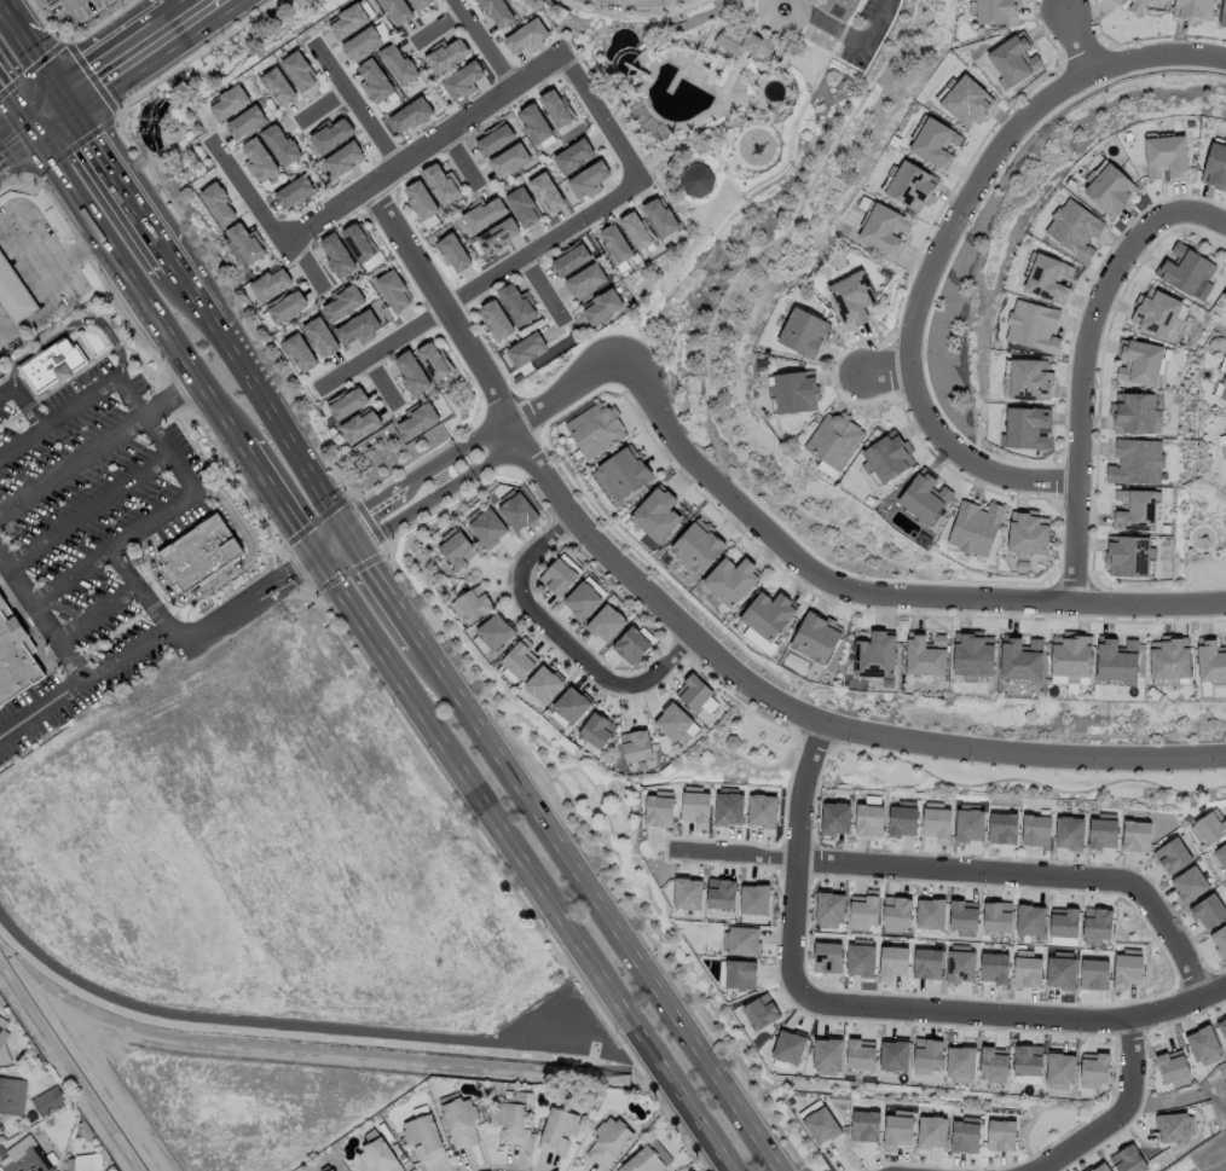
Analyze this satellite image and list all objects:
road: (640, 0)
building: (420, 4)
building: (1134, 4)
road: (187, 8)
road: (207, 8)
building: (395, 10)
building: (1192, 10)
building: (994, 11)
building: (496, 12)
building: (1222, 13)
building: (351, 18)
road: (780, 21)
road: (178, 29)
road: (441, 30)
building: (526, 36)
road: (851, 36)
road: (1082, 36)
building: (365, 41)
building: (741, 42)
road: (484, 44)
road: (41, 48)
building: (445, 54)
road: (1186, 54)
building: (1013, 59)
building: (399, 64)
road: (120, 70)
building: (299, 70)
building: (374, 80)
building: (459, 81)
building: (278, 87)
traffic signals: (76, 99)
building: (966, 100)
building: (230, 102)
road: (324, 105)
road: (357, 105)
building: (555, 108)
road: (13, 115)
road: (52, 115)
building: (410, 115)
road: (601, 116)
building: (247, 121)
building: (534, 126)
road: (13, 131)
traffic signals: (28, 132)
building: (330, 134)
building: (495, 138)
building: (933, 141)
building: (281, 145)
road: (17, 149)
road: (424, 150)
building: (572, 156)
building: (1166, 156)
building: (259, 158)
building: (343, 158)
building: (509, 160)
road: (467, 161)
building: (1215, 164)
road: (131, 178)
building: (588, 179)
building: (695, 179)
building: (439, 182)
building: (912, 185)
building: (1110, 189)
building: (294, 191)
building: (544, 191)
road: (248, 192)
building: (218, 203)
building: (421, 203)
building: (522, 207)
road: (1199, 209)
building: (482, 213)
building: (659, 216)
building: (885, 228)
building: (1074, 228)
building: (636, 230)
building: (495, 237)
building: (245, 242)
building: (358, 242)
building: (613, 244)
road: (45, 249)
building: (451, 253)
building: (336, 255)
building: (569, 257)
road: (308, 262)
building: (1184, 268)
road: (933, 276)
building: (1047, 276)
building: (584, 280)
building: (270, 283)
road: (133, 286)
road: (481, 286)
building: (393, 290)
road: (545, 290)
building: (15, 291)
gas station: (15, 291)
road: (203, 294)
building: (1224, 294)
building: (1224, 297)
building: (854, 298)
building: (341, 302)
building: (516, 303)
building: (287, 306)
building: (600, 306)
road: (39, 312)
building: (1156, 312)
building: (493, 319)
road: (70, 324)
building: (1033, 326)
building: (358, 327)
building: (805, 334)
building: (320, 338)
road: (4, 340)
building: (527, 349)
building: (300, 354)
building: (435, 363)
building: (1143, 363)
building: (52, 366)
road: (886, 371)
building: (412, 375)
building: (1029, 378)
building: (1221, 381)
road: (383, 383)
building: (796, 392)
road: (1087, 393)
road: (23, 400)
building: (347, 404)
road: (76, 405)
building: (1137, 412)
building: (417, 422)
road: (284, 425)
building: (360, 427)
building: (1025, 427)
building: (596, 430)
building: (837, 441)
building: (1222, 444)
road: (96, 445)
road: (168, 452)
building: (890, 457)
building: (1137, 462)
road: (443, 463)
building: (625, 473)
road: (441, 480)
road: (458, 485)
building: (926, 497)
road: (274, 502)
building: (517, 506)
building: (1137, 509)
road: (83, 510)
building: (657, 516)
road: (152, 520)
traffic signals: (346, 523)
building: (487, 526)
building: (976, 527)
building: (1029, 533)
road: (353, 534)
road: (330, 540)
traffic signals: (360, 546)
building: (699, 547)
building: (457, 549)
road: (337, 552)
building: (198, 555)
building: (1129, 555)
traffic signals: (314, 558)
road: (69, 575)
road: (219, 576)
building: (559, 576)
road: (831, 579)
building: (733, 581)
road: (139, 587)
road: (391, 591)
building: (583, 601)
building: (473, 604)
road: (96, 611)
building: (770, 616)
building: (607, 624)
building: (496, 631)
road: (561, 638)
building: (817, 638)
road: (694, 639)
road: (140, 644)
building: (632, 645)
building: (975, 653)
building: (926, 654)
building: (1071, 655)
building: (877, 656)
building: (520, 657)
building: (1022, 657)
building: (1170, 657)
building: (1118, 659)
building: (1211, 659)
building: (15, 667)
building: (544, 683)
building: (695, 685)
building: (572, 705)
road: (41, 706)
building: (672, 715)
building: (597, 729)
building: (637, 744)
road: (804, 789)
building: (693, 802)
building: (725, 804)
building: (762, 804)
building: (657, 805)
building: (868, 812)
building: (901, 813)
building: (832, 815)
building: (933, 816)
building: (968, 821)
building: (1001, 822)
building: (1209, 822)
building: (1035, 823)
building: (1069, 827)
building: (1101, 827)
building: (1135, 830)
building: (1170, 850)
road: (735, 853)
building: (1220, 854)
road: (517, 865)
road: (1033, 874)
building: (1189, 877)
building: (684, 888)
building: (718, 889)
building: (752, 898)
road: (597, 904)
building: (826, 904)
building: (895, 906)
building: (1210, 906)
building: (862, 908)
building: (929, 909)
building: (994, 911)
building: (958, 914)
building: (1027, 915)
building: (1060, 918)
building: (1095, 920)
building: (740, 937)
building: (1220, 937)
building: (828, 950)
building: (858, 955)
building: (925, 956)
building: (891, 958)
building: (960, 958)
building: (990, 961)
building: (1126, 962)
building: (1024, 966)
building: (1058, 966)
building: (739, 969)
building: (1091, 969)
building: (759, 1005)
road: (947, 1009)
building: (1221, 1027)
building: (2, 1030)
building: (785, 1043)
building: (1203, 1045)
building: (825, 1050)
building: (926, 1050)
building: (857, 1051)
building: (892, 1051)
building: (1025, 1055)
building: (956, 1057)
building: (990, 1059)
building: (1058, 1065)
building: (1094, 1066)
building: (1172, 1067)
building: (12, 1095)
building: (48, 1100)
road: (1118, 1114)
building: (30, 1115)
building: (510, 1119)
building: (820, 1120)
building: (459, 1121)
building: (862, 1123)
building: (896, 1124)
building: (1174, 1127)
building: (83, 1129)
building: (557, 1129)
building: (930, 1129)
building: (965, 1131)
building: (999, 1131)
building: (422, 1134)
building: (608, 1142)
building: (1, 1153)
building: (27, 1156)
building: (377, 1156)
building: (646, 1159)
building: (1128, 1159)
building: (82, 1163)
building: (1099, 1167)
building: (318, 1170)
building: (331, 1170)

